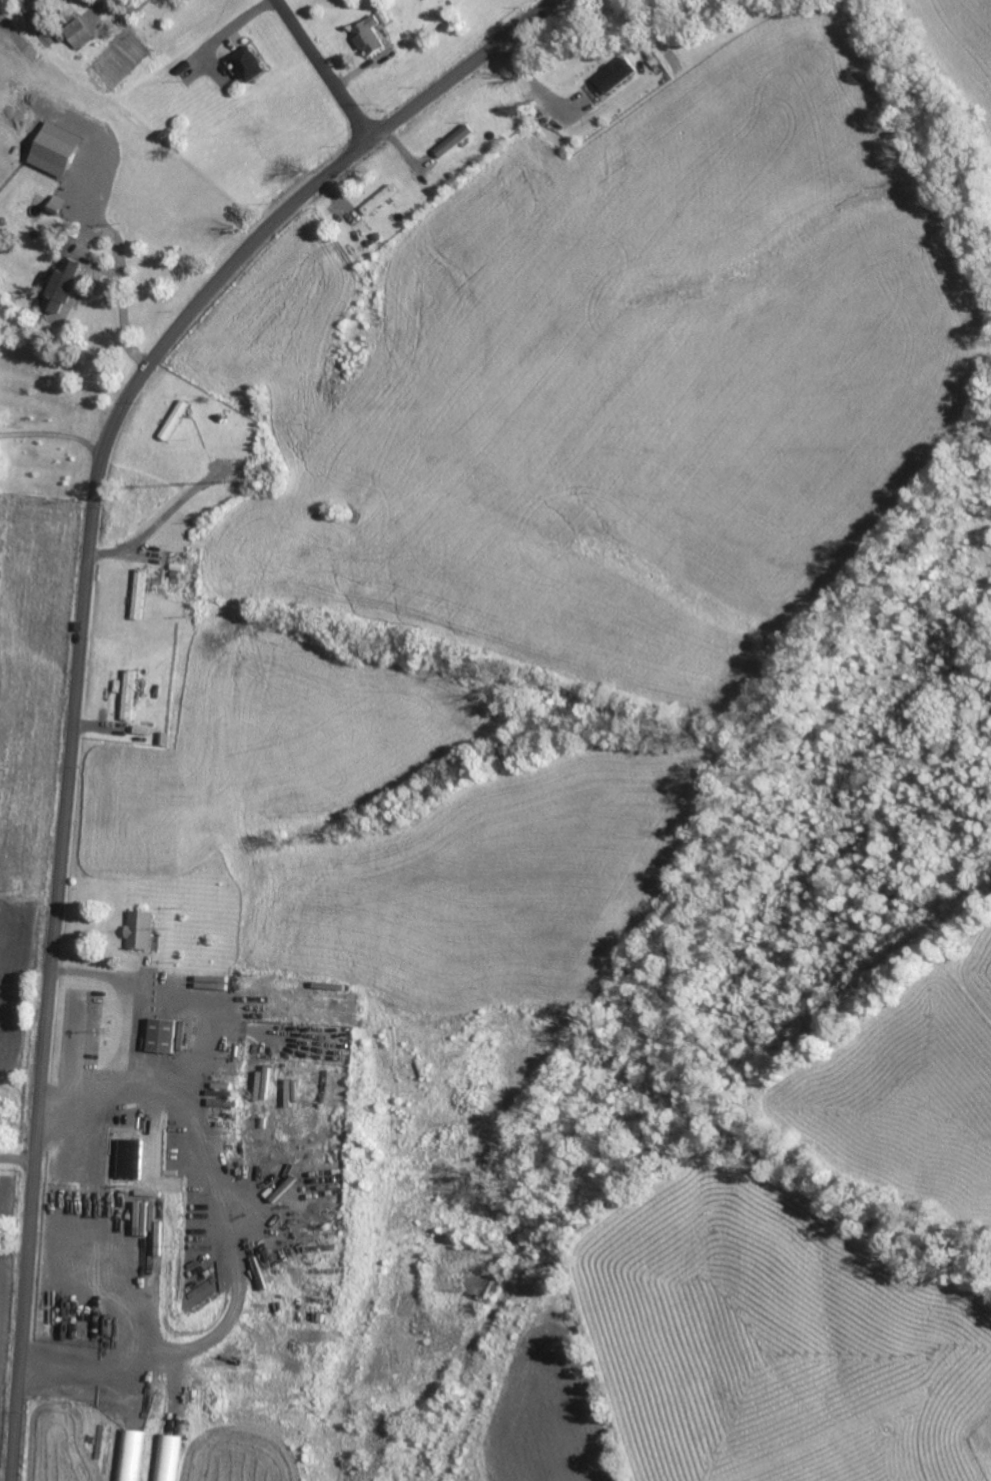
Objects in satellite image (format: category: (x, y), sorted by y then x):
road: (128, 11)
building: (382, 16)
building: (75, 31)
road: (232, 33)
building: (368, 34)
building: (247, 63)
road: (325, 73)
building: (614, 73)
road: (540, 87)
building: (452, 140)
building: (52, 148)
building: (378, 199)
road: (121, 263)
building: (60, 286)
building: (173, 420)
road: (53, 434)
road: (158, 521)
road: (76, 640)
building: (127, 694)
building: (139, 930)
building: (161, 1035)
road: (138, 1043)
road: (17, 1157)
building: (130, 1158)
building: (135, 1205)
building: (131, 1455)
building: (168, 1457)

